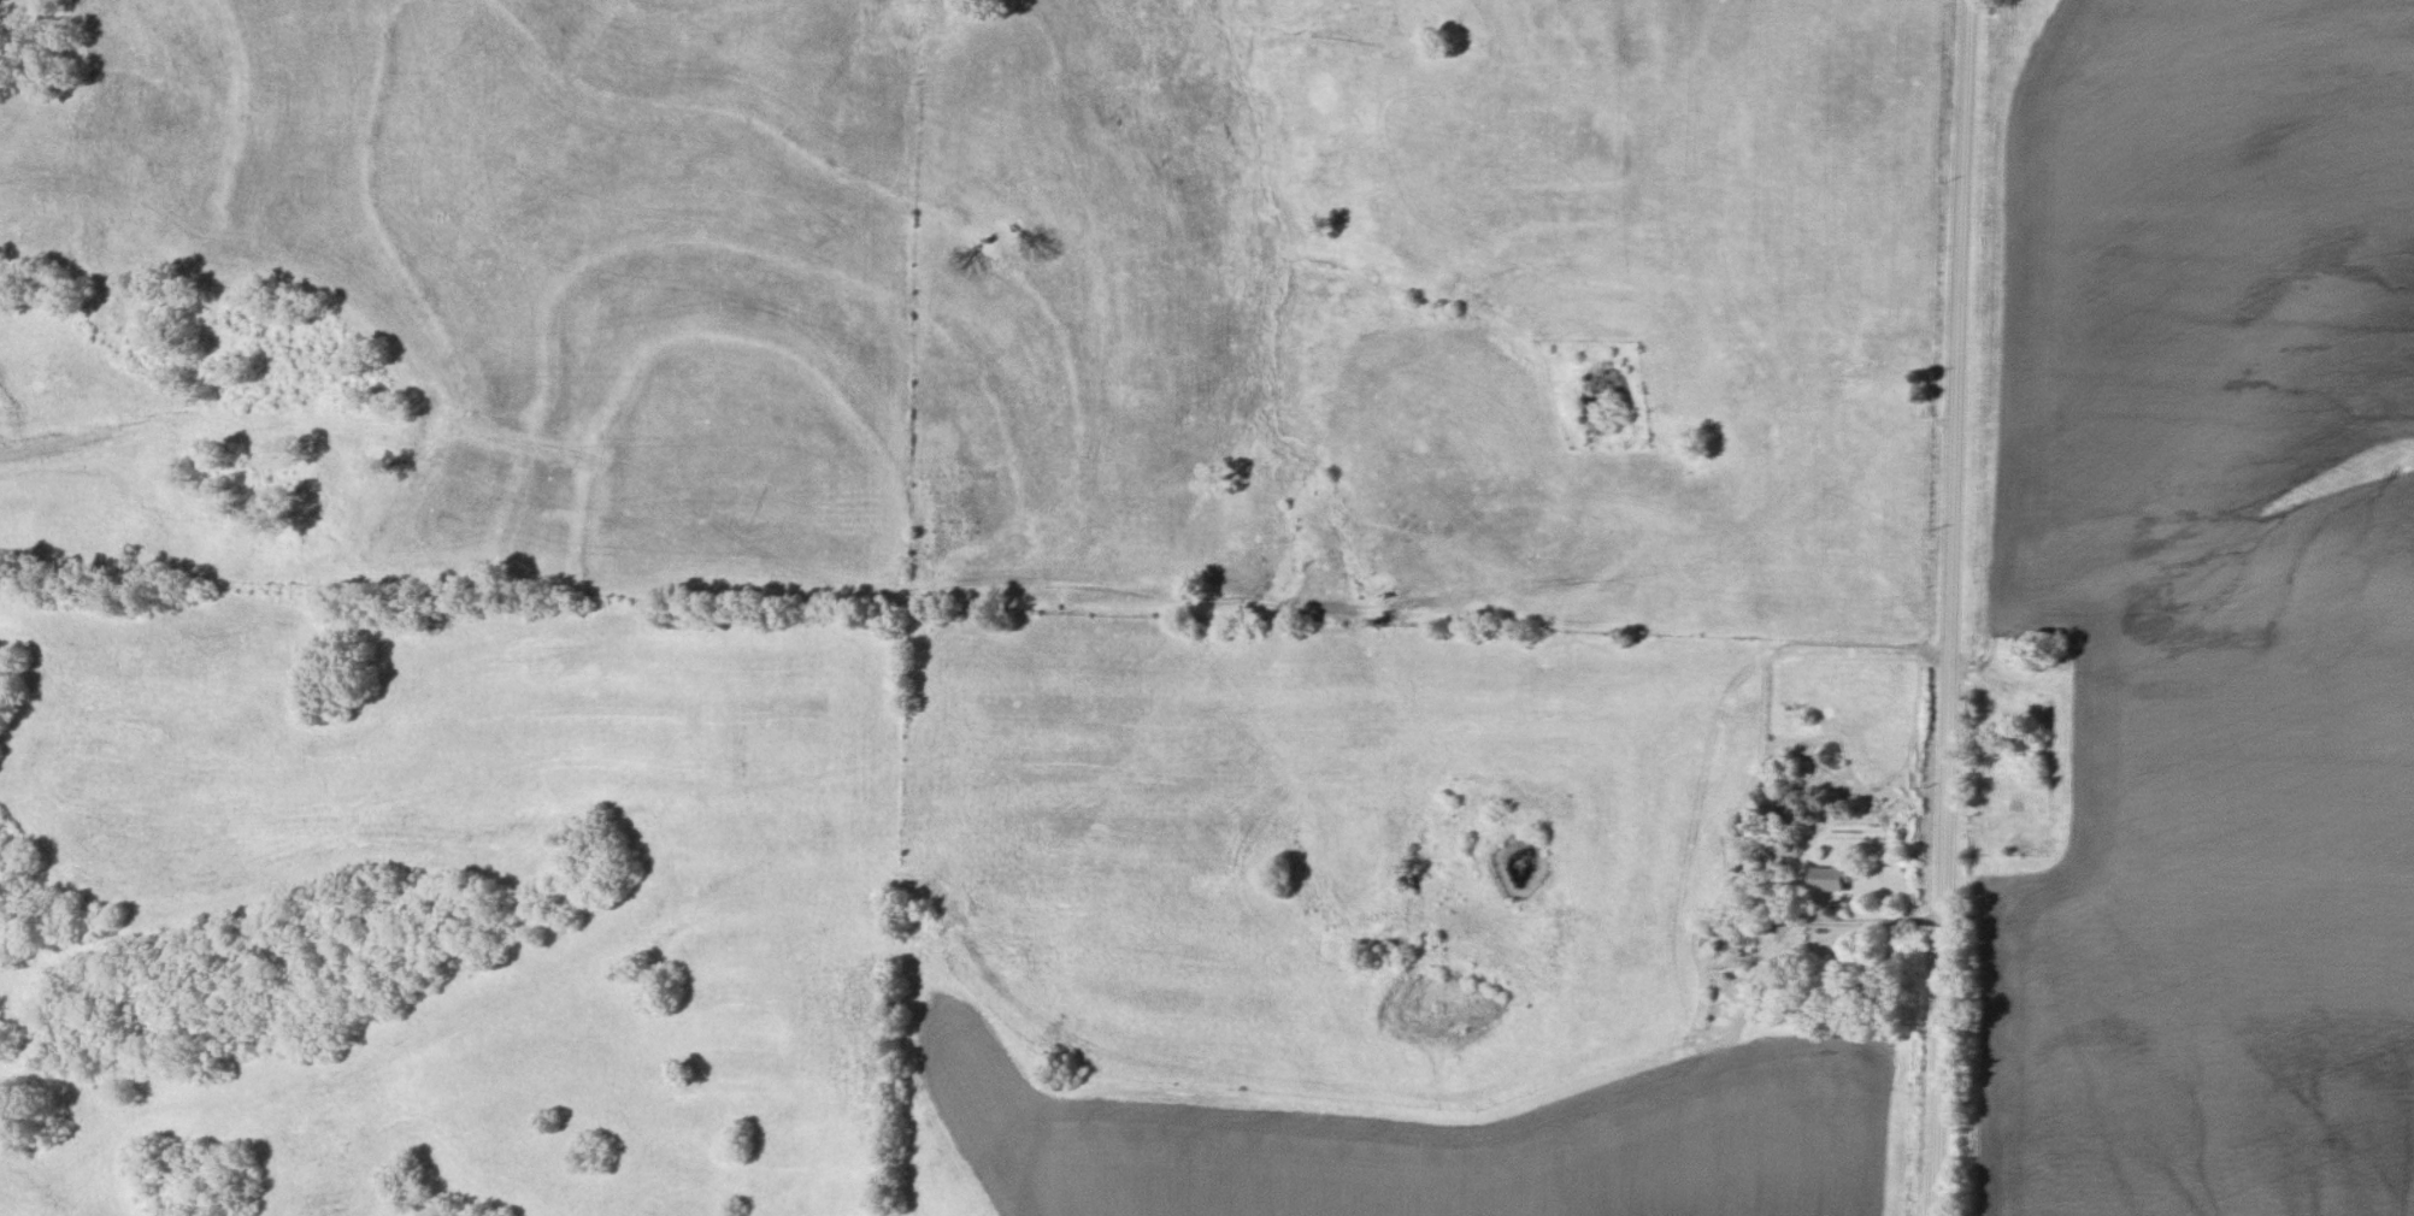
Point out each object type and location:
road: (1949, 607)
crop: (2203, 618)
building: (1831, 883)
road: (1873, 920)
building: (1743, 945)
crop: (1432, 1141)

